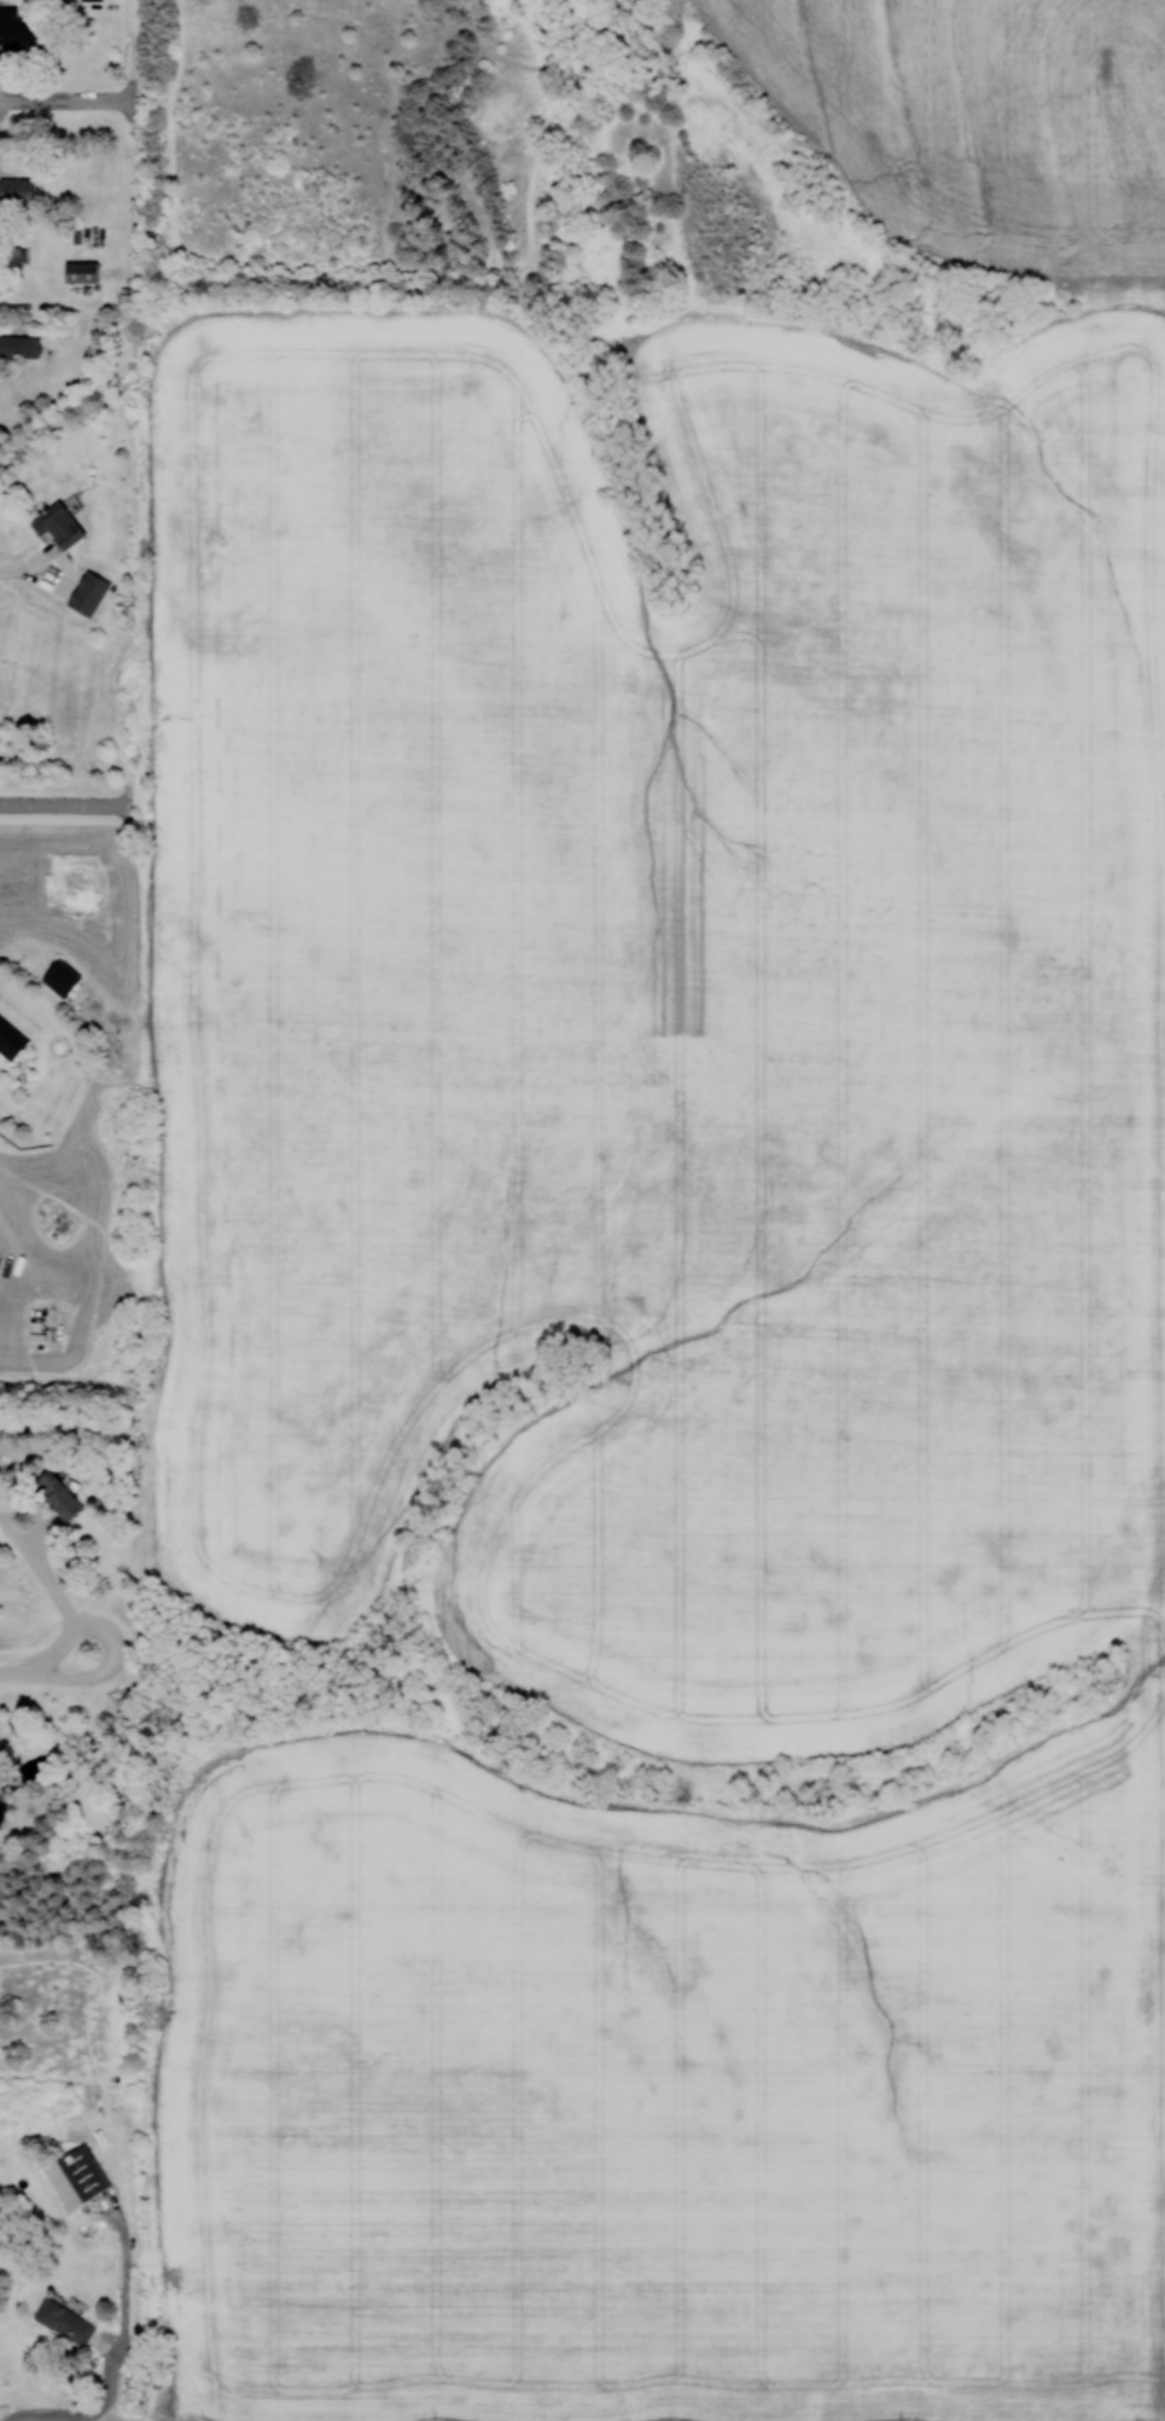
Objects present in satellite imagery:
building: (93, 0)
building: (16, 28)
road: (66, 101)
crop: (977, 121)
building: (17, 191)
building: (81, 272)
building: (19, 346)
building: (59, 524)
road: (22, 567)
building: (88, 592)
road: (62, 805)
building: (62, 977)
building: (11, 1038)
crop: (665, 1363)
building: (59, 1496)
road: (53, 1587)
road: (47, 1671)
building: (77, 2176)
building: (65, 2321)
road: (113, 2357)

